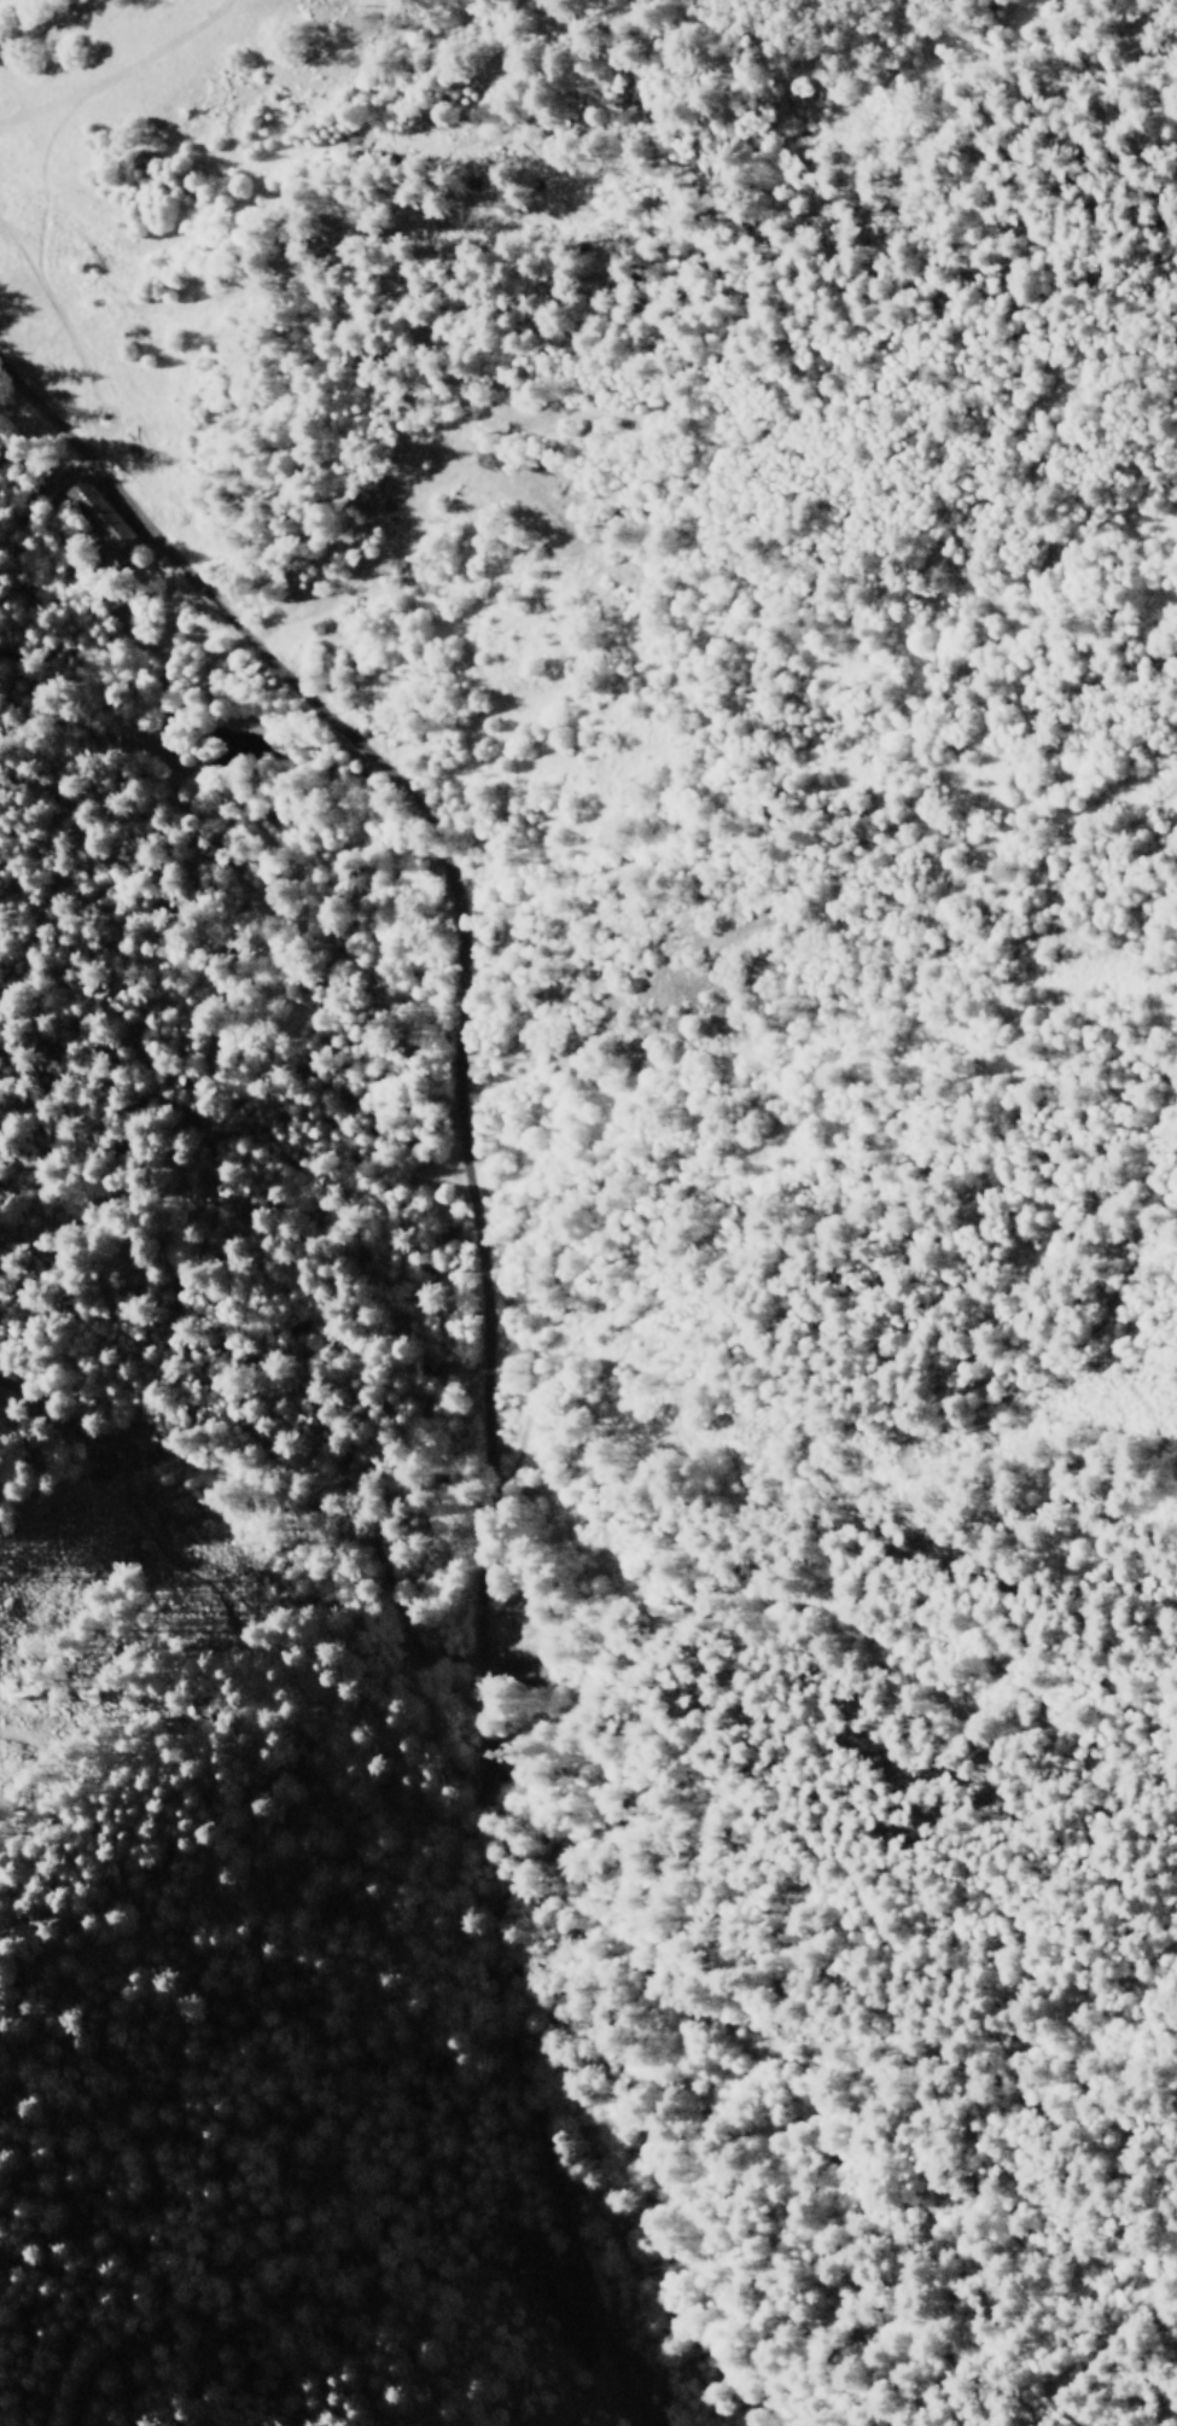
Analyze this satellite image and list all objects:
building: (98, 518)

